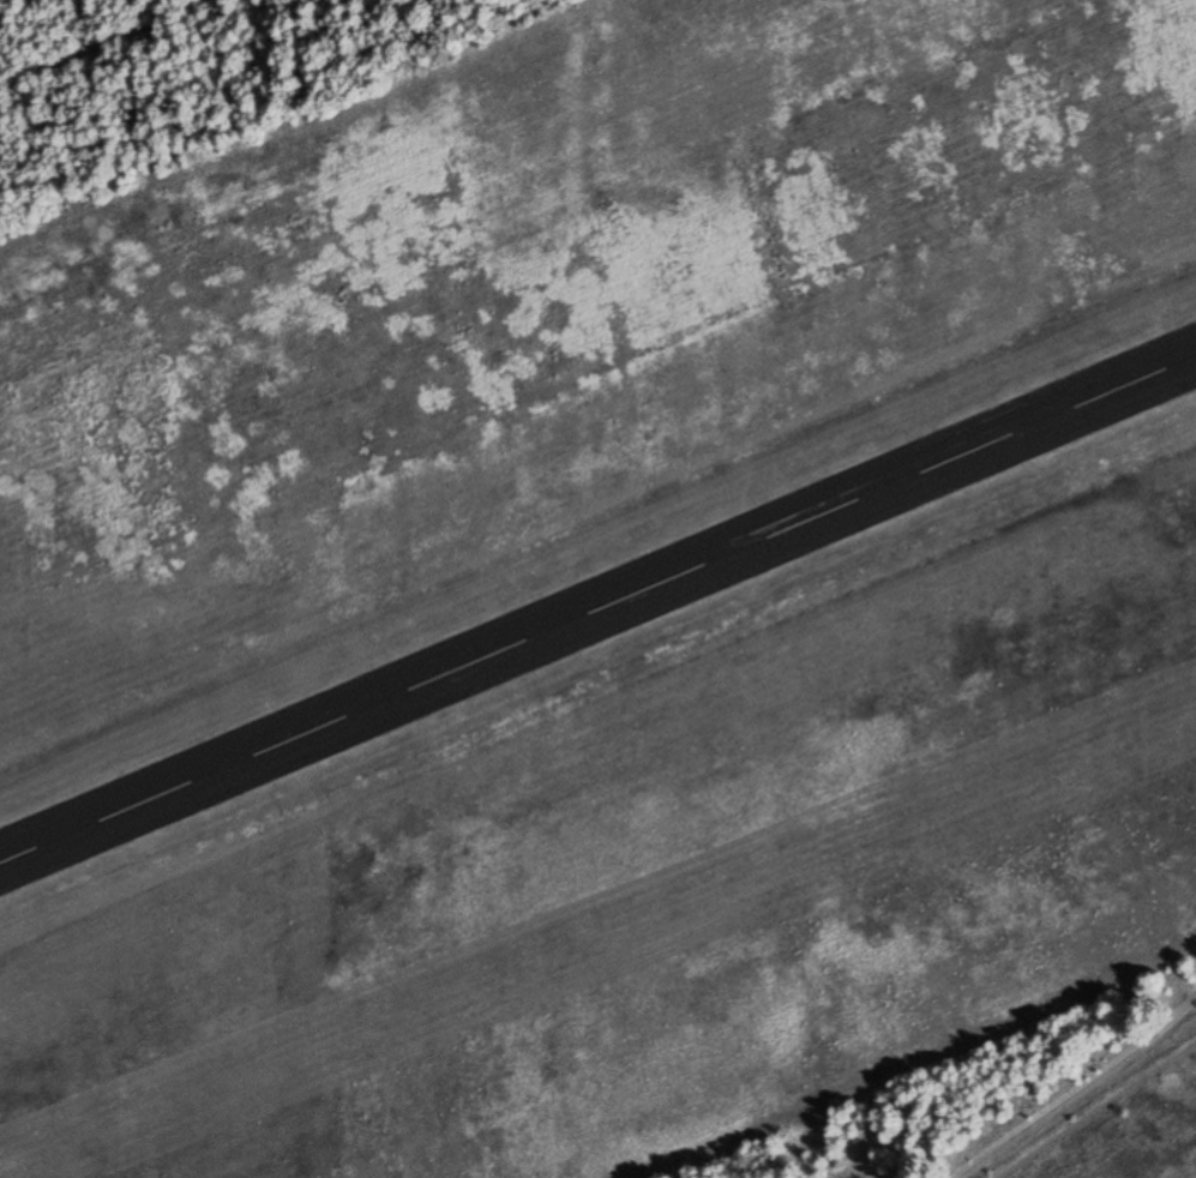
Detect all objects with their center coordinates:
building: (1060, 403)
building: (828, 522)
building: (775, 535)
airport: (595, 585)
airport runway: (597, 608)
building: (573, 620)
building: (240, 770)

